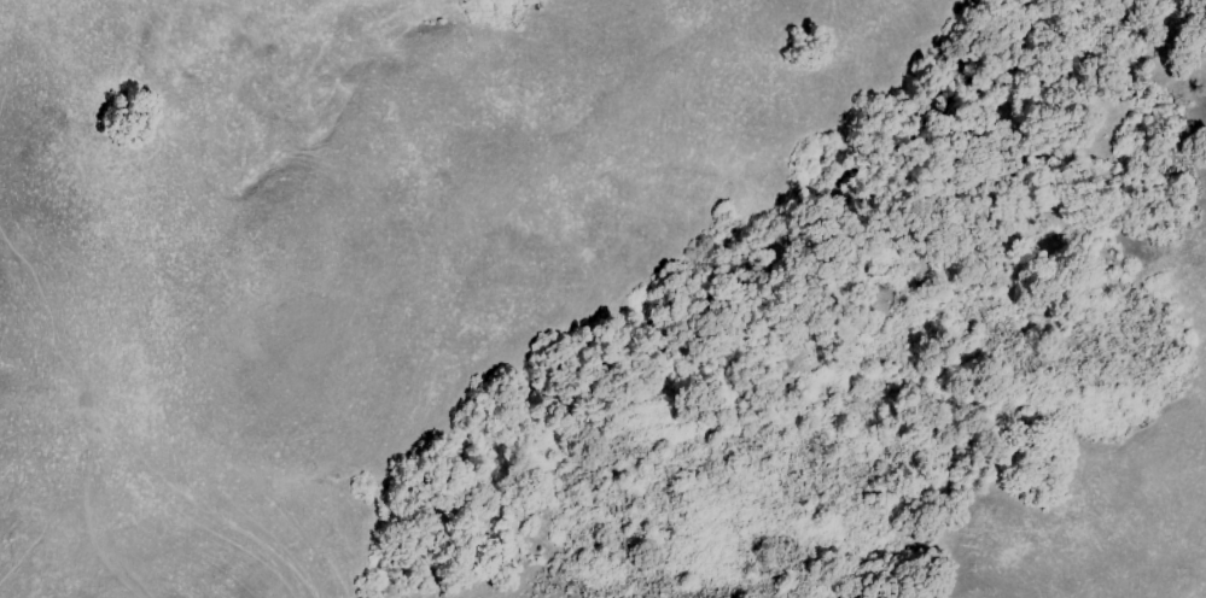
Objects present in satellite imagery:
road: (110, 300)

